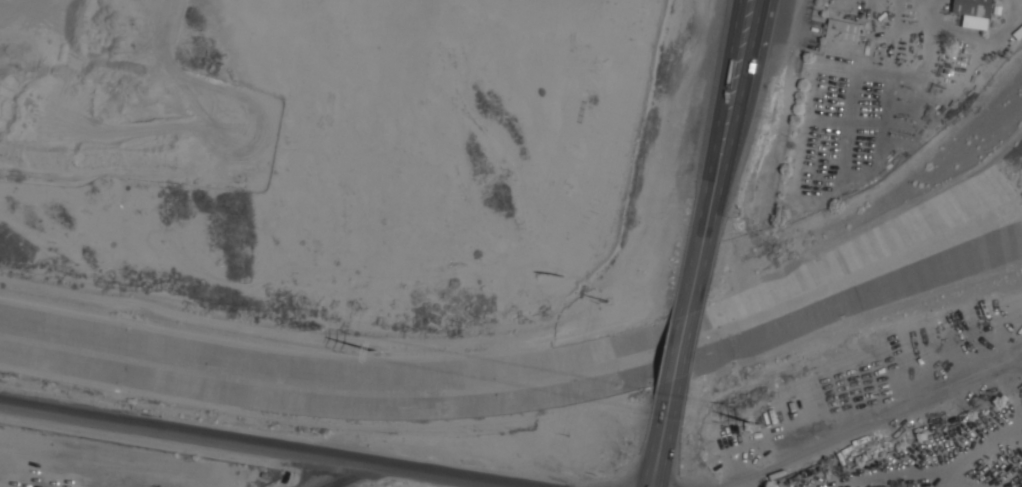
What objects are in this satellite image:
building: (974, 12)
building: (843, 31)
road: (730, 117)
power tower: (381, 352)
road: (679, 361)
road: (873, 422)
power tower: (761, 424)
road: (271, 443)
road: (343, 473)

